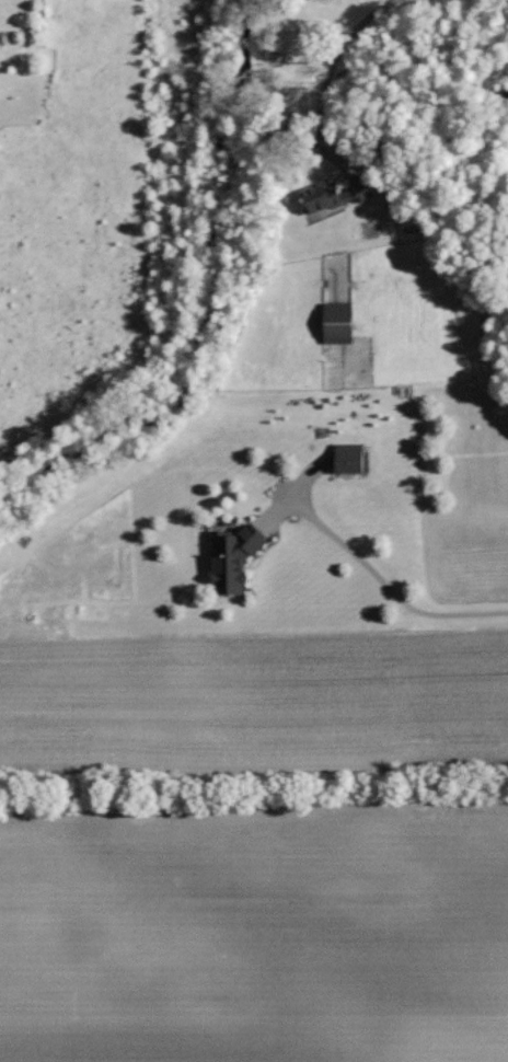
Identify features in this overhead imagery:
road: (332, 67)
building: (328, 194)
building: (335, 322)
building: (347, 458)
building: (231, 558)
road: (389, 586)

